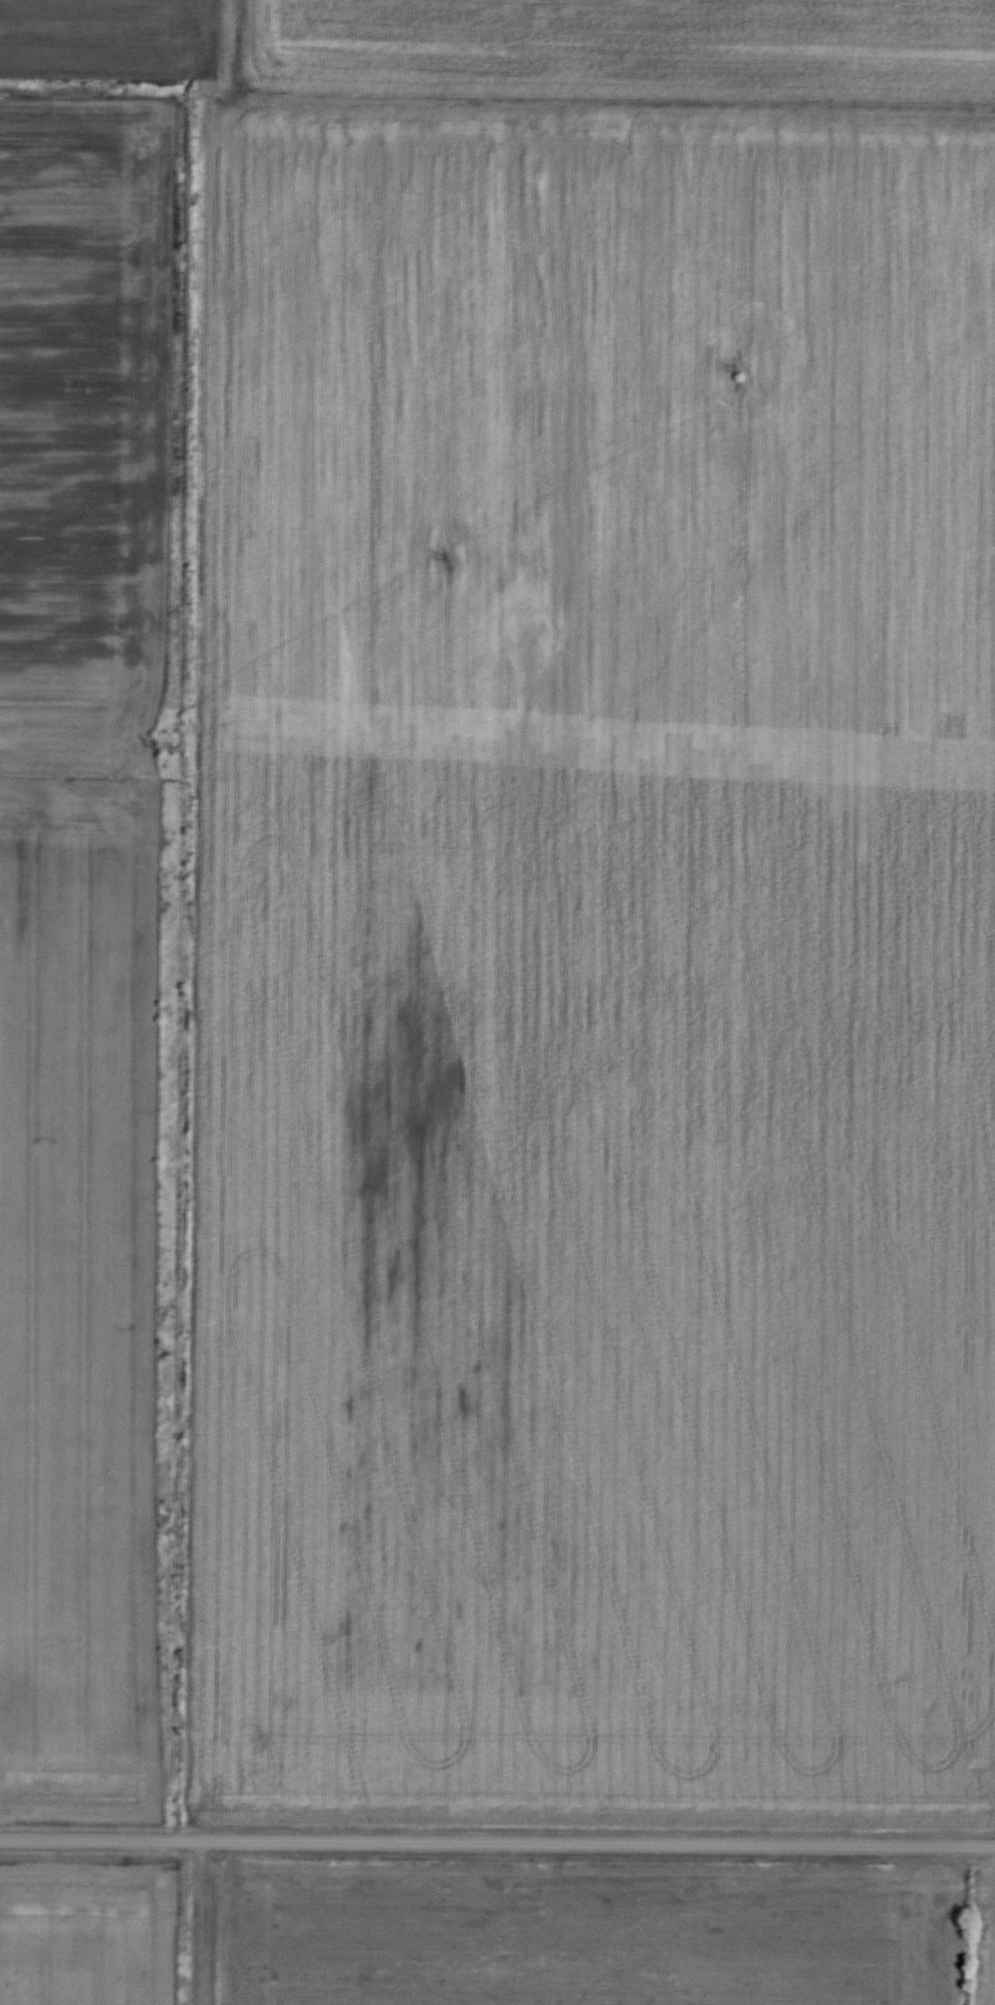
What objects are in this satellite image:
road: (497, 1844)

